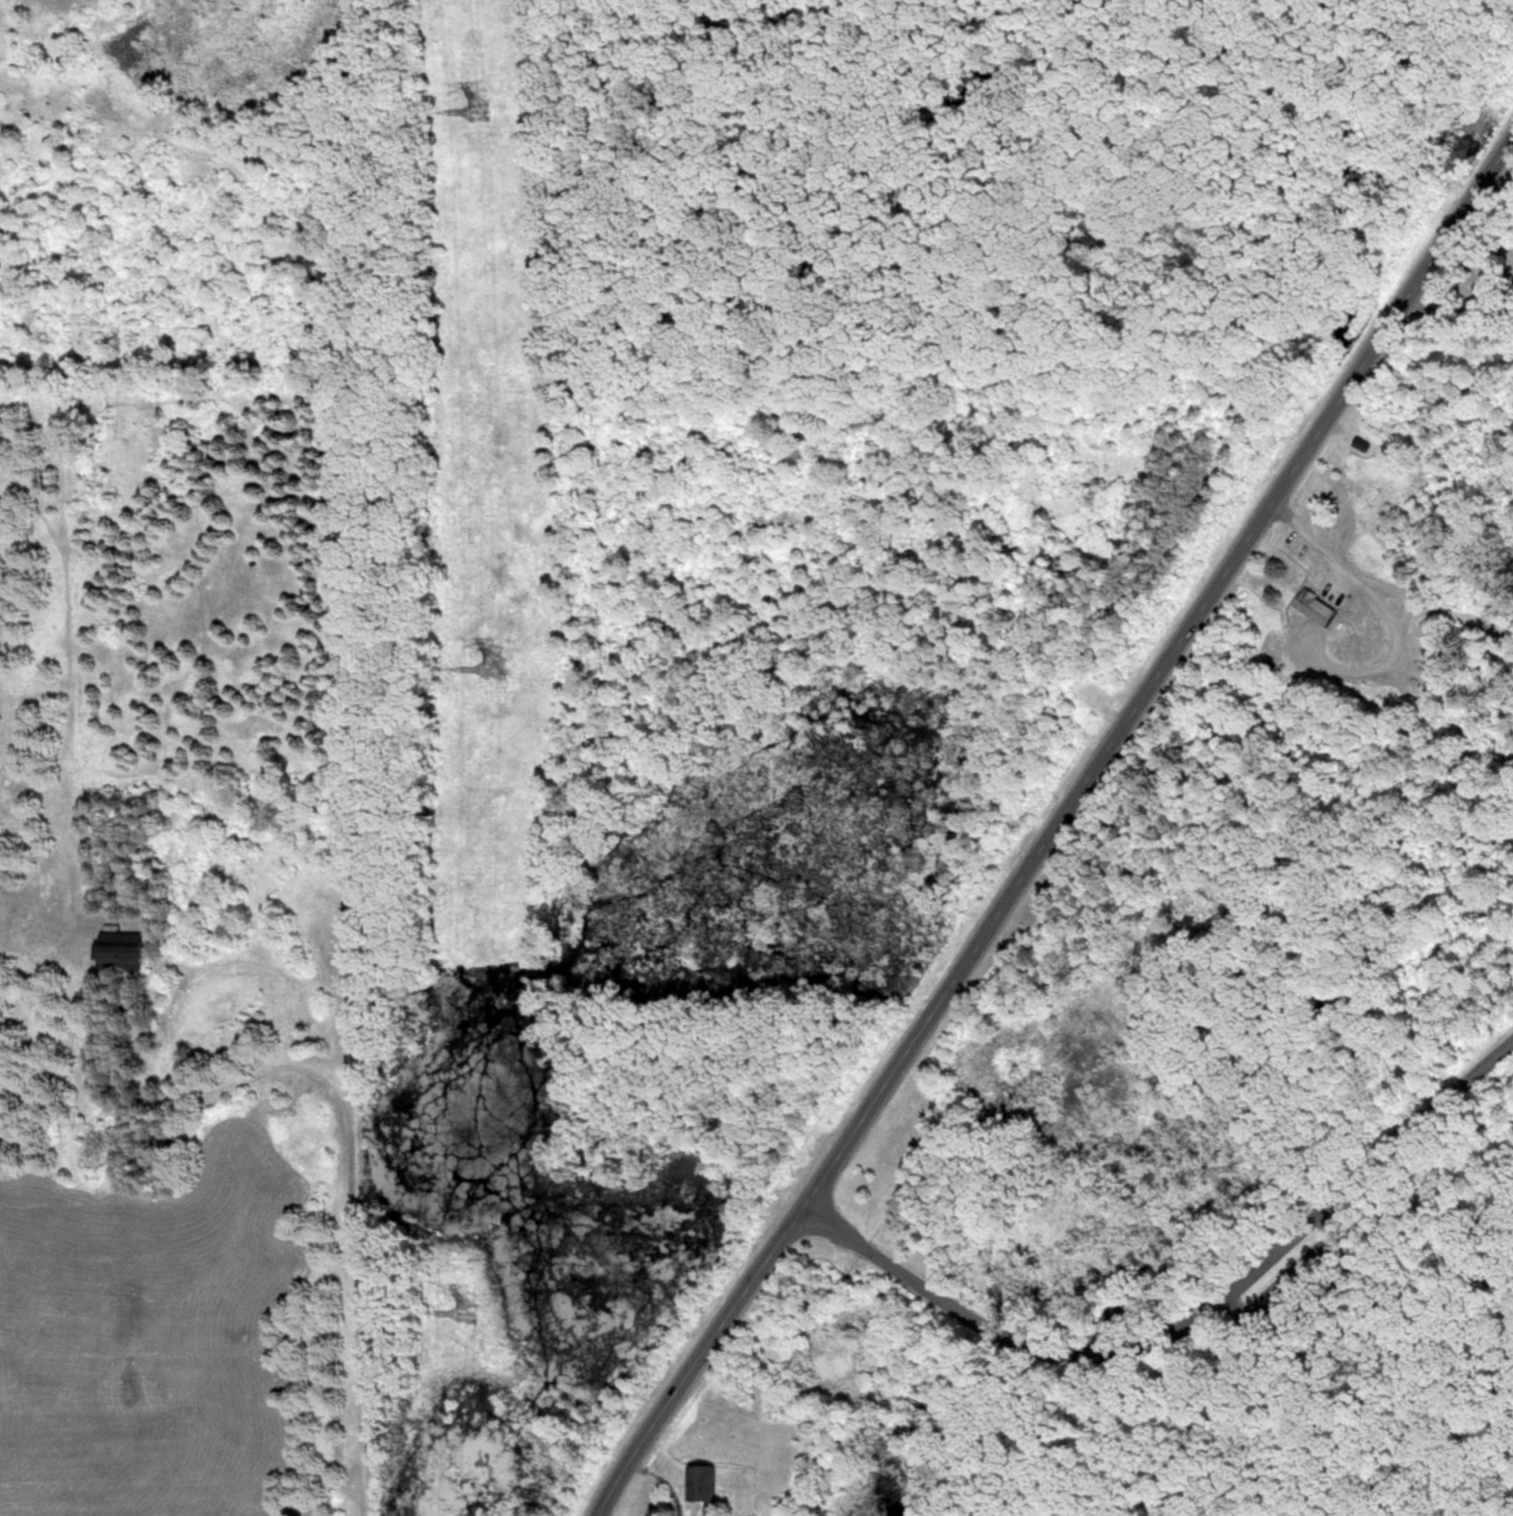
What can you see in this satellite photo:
power tower: (478, 110)
road: (1455, 319)
building: (1357, 443)
road: (1383, 585)
building: (1307, 606)
road: (1395, 640)
power tower: (495, 666)
park: (903, 669)
road: (1054, 829)
building: (128, 952)
road: (347, 1144)
parking lot: (1292, 1281)
road: (1294, 1283)
road: (1117, 1308)
power tower: (465, 1313)
road: (1187, 1323)
building: (1119, 1362)
building: (702, 1481)

